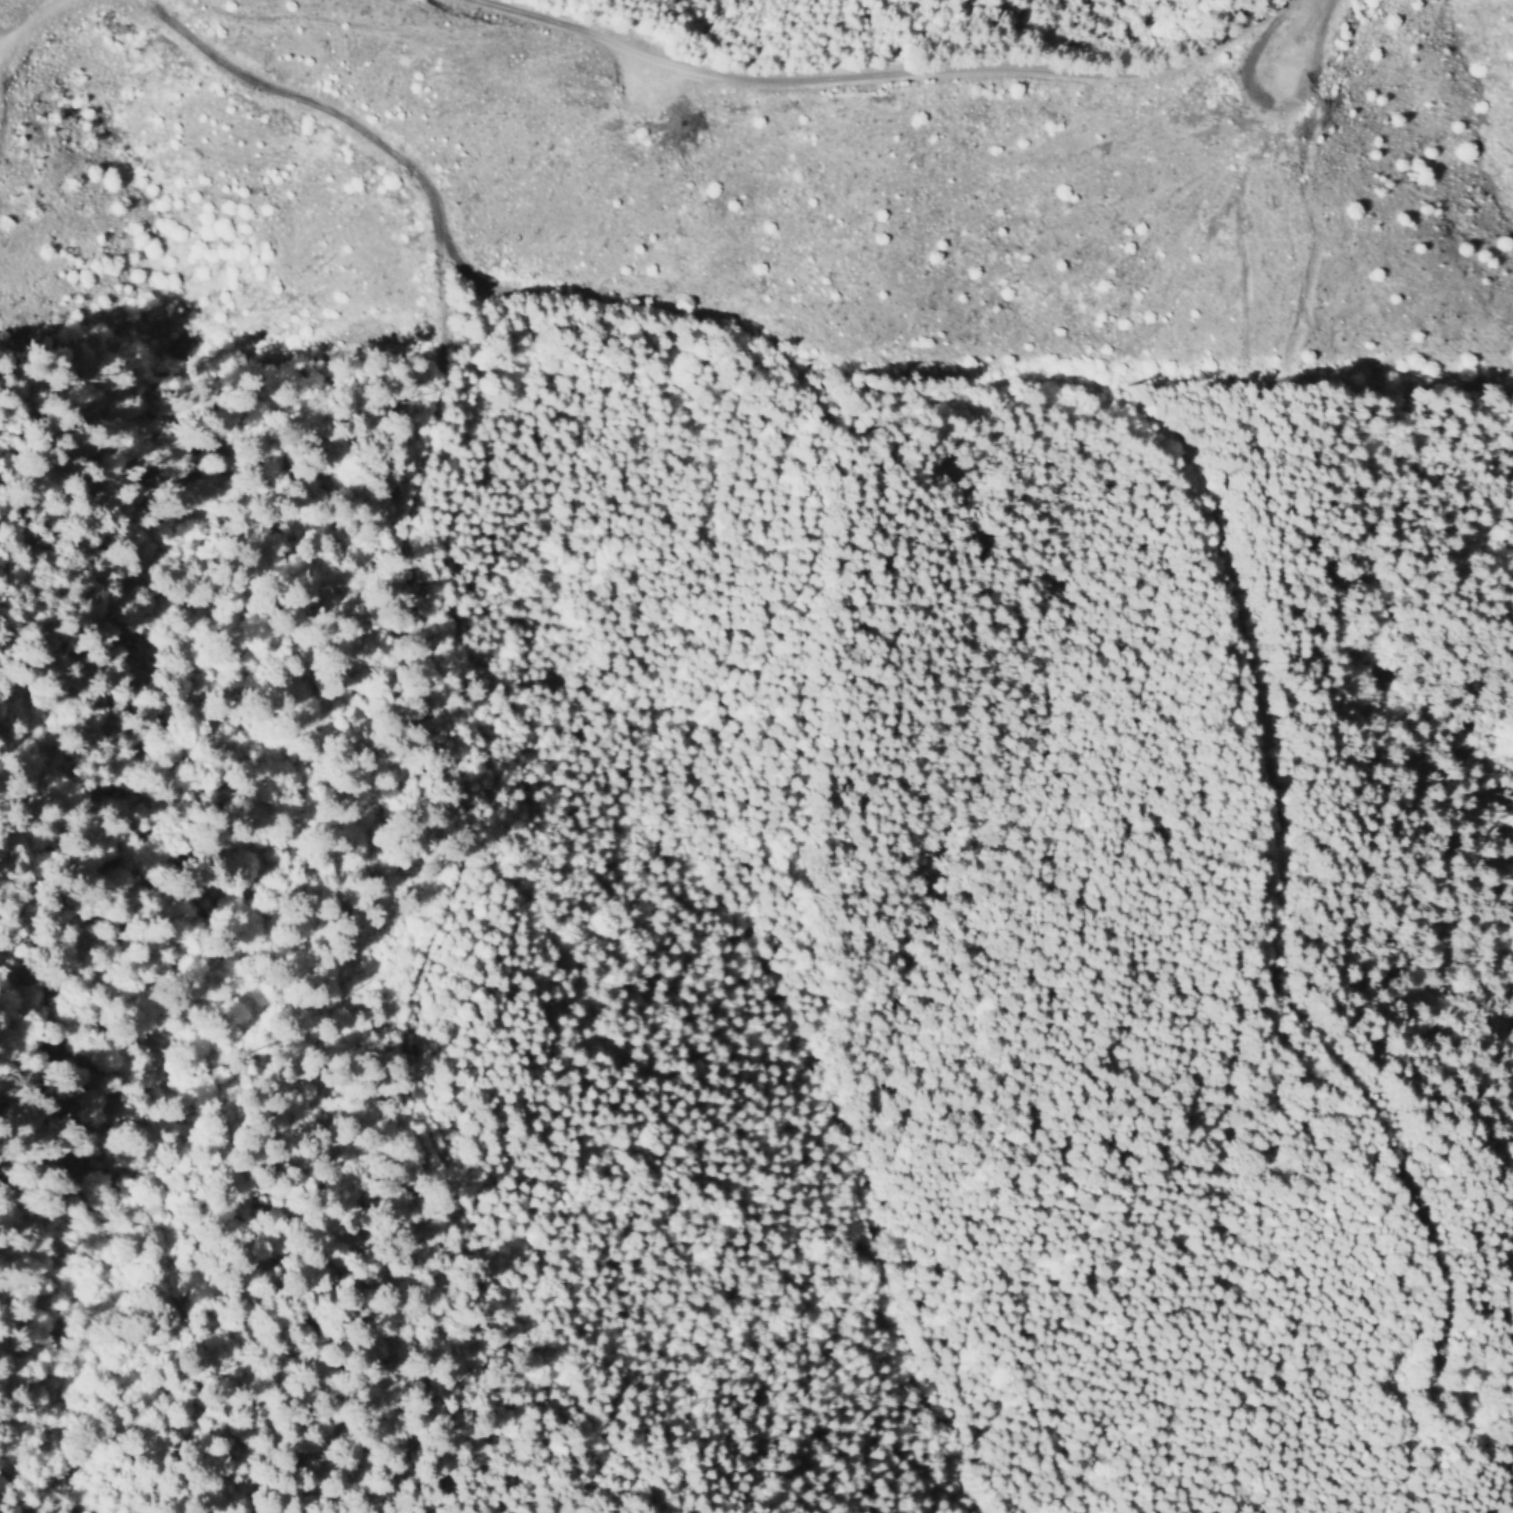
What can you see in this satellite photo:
road: (888, 72)
road: (1060, 381)
road: (441, 902)

